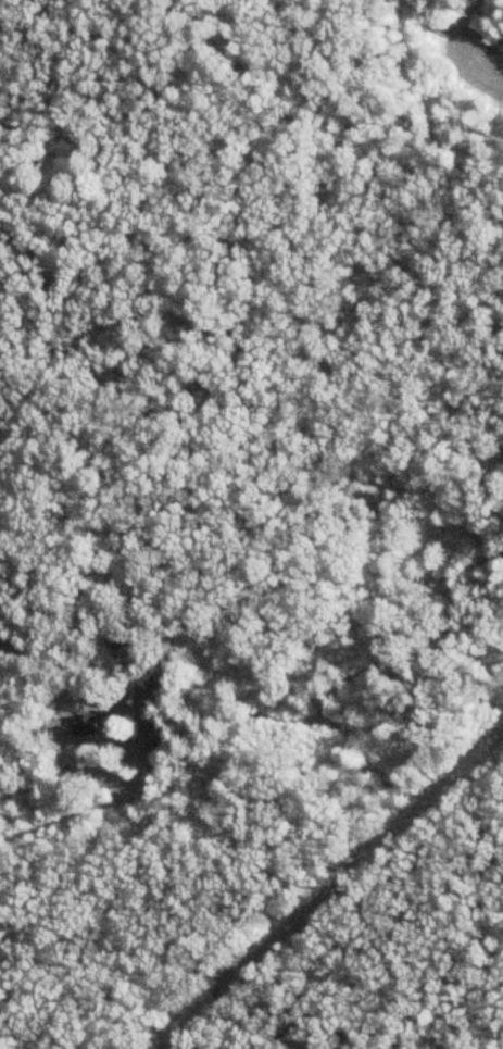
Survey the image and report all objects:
building: (155, 698)
road: (3, 722)
building: (90, 726)
road: (102, 804)

